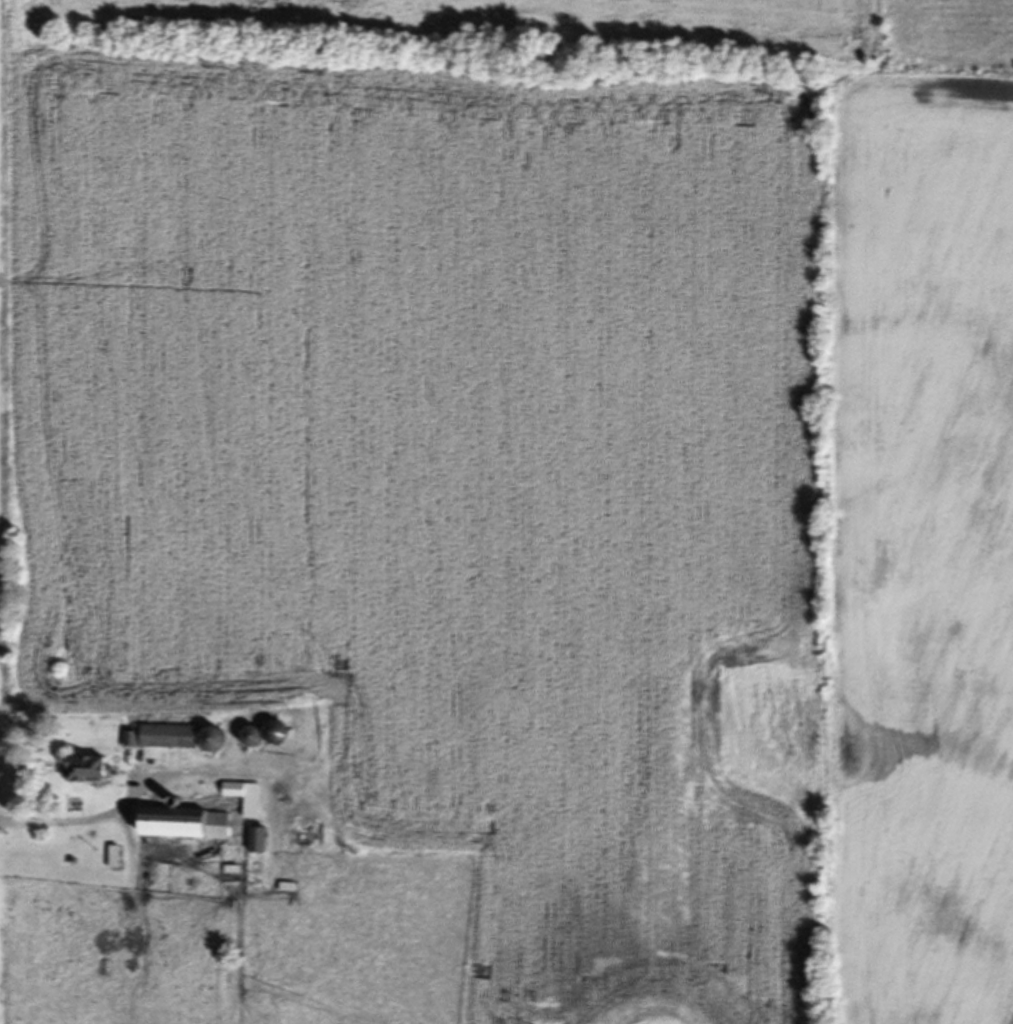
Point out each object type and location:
building: (155, 735)
building: (282, 735)
building: (259, 739)
building: (95, 770)
building: (249, 800)
road: (75, 824)
building: (190, 825)
building: (262, 842)

